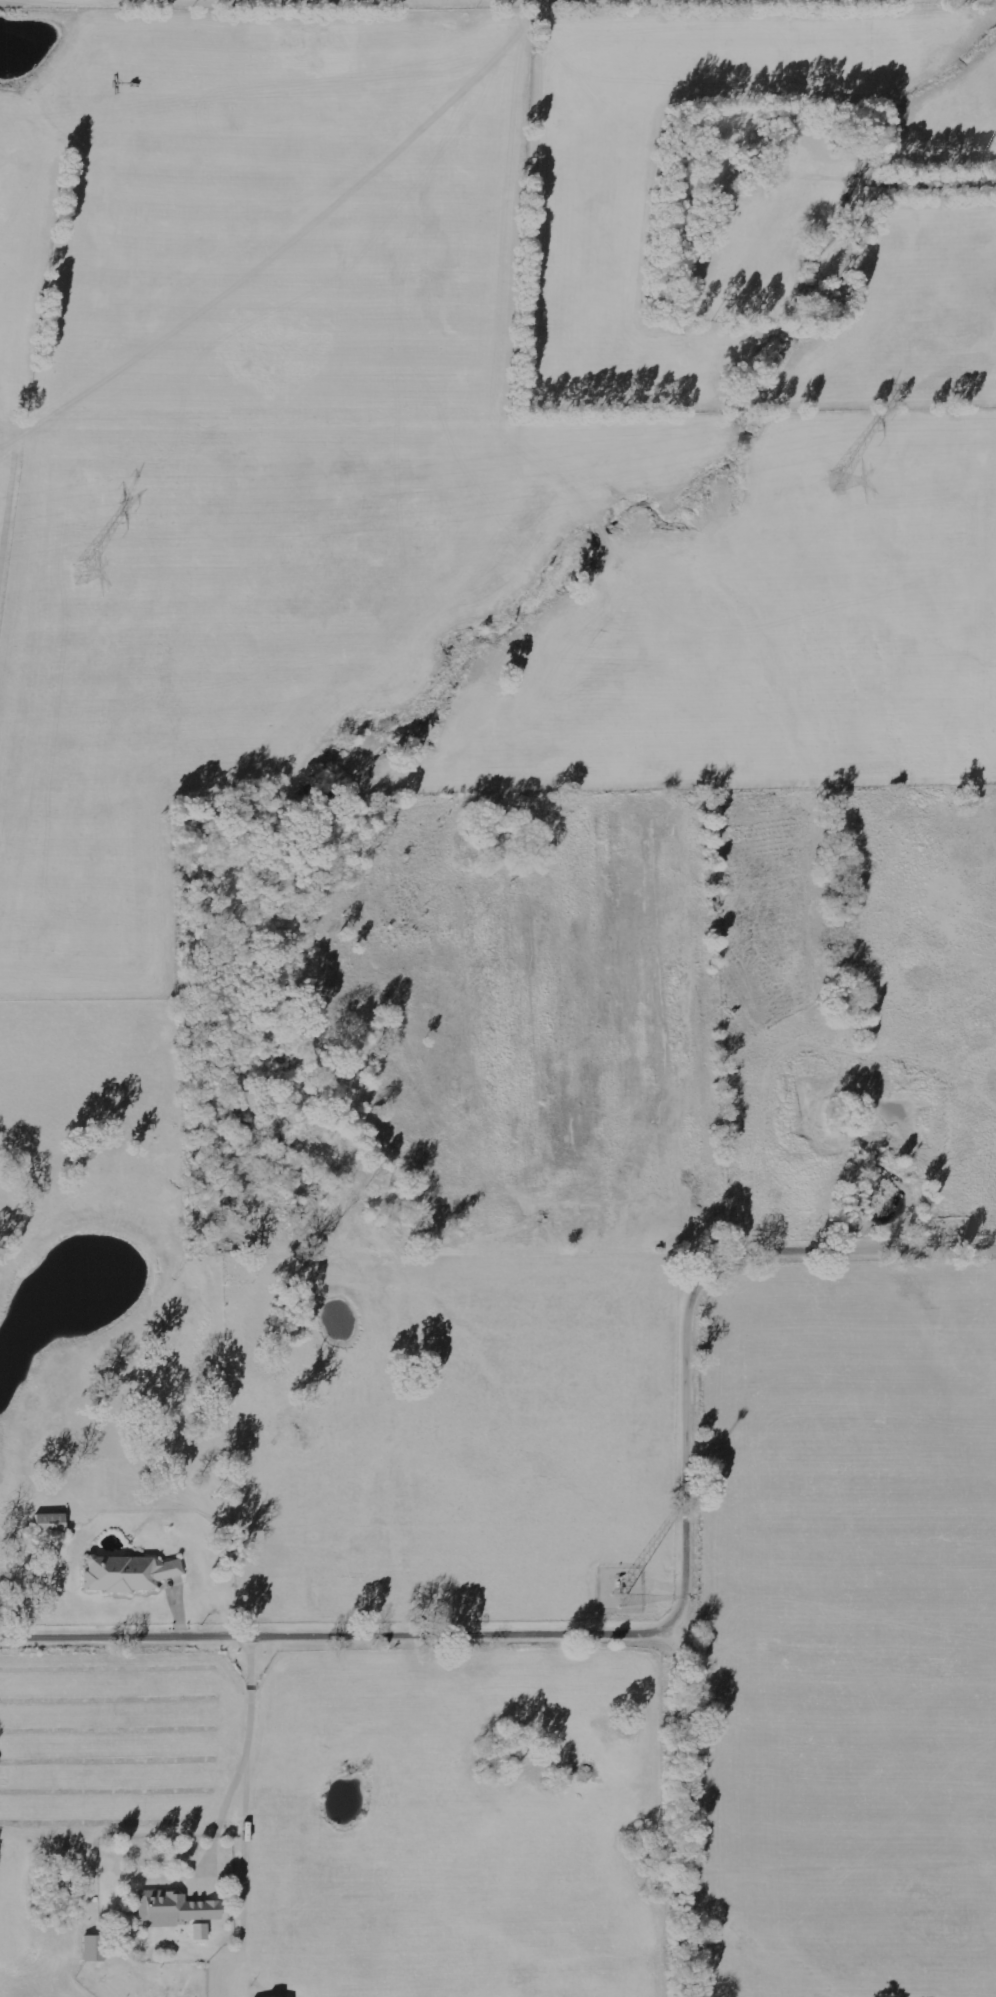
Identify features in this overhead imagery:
road: (947, 320)
power tower: (837, 479)
power tower: (77, 572)
road: (694, 1491)
building: (51, 1521)
building: (130, 1573)
road: (346, 1638)
building: (175, 1908)
building: (95, 1948)

